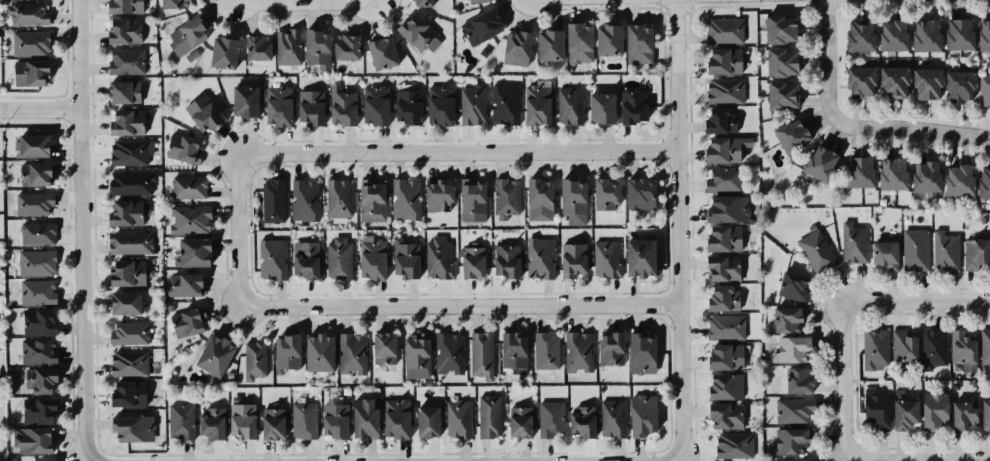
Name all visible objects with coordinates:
road: (374, 0)
road: (226, 1)
building: (470, 1)
road: (301, 2)
building: (419, 2)
building: (175, 3)
building: (121, 7)
building: (27, 13)
building: (476, 26)
building: (719, 30)
building: (776, 30)
building: (122, 31)
building: (888, 33)
building: (956, 33)
building: (983, 33)
building: (419, 34)
building: (920, 36)
building: (185, 37)
building: (856, 37)
building: (604, 39)
building: (31, 40)
building: (576, 44)
building: (287, 45)
building: (550, 45)
building: (636, 45)
building: (346, 46)
building: (256, 47)
building: (315, 47)
building: (516, 48)
building: (221, 50)
building: (380, 50)
building: (123, 61)
building: (721, 61)
building: (774, 65)
road: (827, 69)
building: (27, 72)
building: (889, 80)
building: (855, 81)
building: (921, 84)
building: (955, 84)
building: (982, 86)
building: (722, 90)
building: (123, 91)
building: (778, 95)
building: (245, 101)
building: (273, 104)
building: (500, 104)
building: (472, 105)
building: (309, 106)
building: (371, 106)
building: (436, 106)
road: (39, 107)
building: (339, 107)
building: (404, 107)
building: (533, 107)
building: (569, 108)
building: (629, 109)
building: (595, 110)
building: (202, 113)
building: (716, 120)
building: (124, 122)
building: (786, 133)
road: (909, 140)
building: (31, 146)
building: (721, 148)
building: (184, 149)
building: (131, 151)
road: (457, 154)
building: (814, 161)
building: (854, 170)
building: (886, 173)
building: (33, 174)
building: (923, 176)
building: (955, 180)
building: (720, 181)
building: (127, 182)
building: (982, 185)
building: (186, 187)
building: (606, 194)
building: (640, 195)
building: (338, 199)
building: (503, 200)
building: (538, 200)
building: (571, 200)
building: (272, 201)
building: (304, 201)
building: (368, 201)
building: (404, 201)
building: (437, 202)
building: (32, 205)
building: (472, 205)
building: (728, 208)
building: (127, 211)
building: (188, 219)
road: (81, 230)
road: (238, 230)
road: (677, 230)
building: (34, 234)
building: (724, 238)
building: (130, 242)
building: (854, 243)
building: (913, 251)
building: (944, 251)
building: (190, 252)
building: (817, 252)
building: (976, 252)
building: (435, 257)
building: (571, 257)
building: (406, 258)
building: (602, 258)
building: (638, 258)
building: (272, 259)
building: (306, 259)
building: (338, 259)
building: (373, 260)
building: (539, 260)
building: (882, 260)
building: (506, 261)
building: (34, 262)
building: (473, 263)
building: (724, 267)
building: (128, 272)
building: (181, 284)
building: (794, 287)
building: (35, 293)
building: (723, 299)
road: (913, 299)
building: (122, 301)
road: (459, 305)
building: (787, 320)
building: (188, 321)
building: (34, 322)
building: (723, 328)
building: (126, 334)
building: (985, 344)
building: (384, 348)
building: (611, 348)
building: (902, 348)
building: (932, 348)
building: (874, 349)
building: (35, 351)
building: (513, 351)
building: (544, 351)
building: (790, 351)
building: (963, 351)
building: (446, 352)
building: (578, 352)
building: (283, 353)
building: (315, 353)
building: (638, 353)
building: (481, 355)
building: (210, 356)
building: (350, 356)
building: (417, 356)
building: (722, 358)
building: (252, 362)
building: (126, 363)
road: (836, 378)
building: (30, 379)
building: (800, 379)
building: (726, 386)
building: (124, 392)
building: (877, 409)
building: (36, 410)
building: (935, 411)
building: (790, 414)
building: (906, 414)
building: (643, 415)
building: (964, 415)
building: (986, 415)
building: (727, 416)
building: (335, 417)
building: (489, 417)
building: (365, 418)
building: (397, 418)
building: (458, 418)
building: (550, 418)
building: (612, 418)
building: (177, 419)
building: (242, 420)
building: (273, 421)
building: (428, 421)
building: (583, 421)
building: (301, 422)
building: (520, 422)
building: (209, 423)
building: (129, 427)
building: (29, 440)
building: (788, 444)
building: (733, 445)
road: (912, 455)
building: (47, 460)
building: (808, 460)

